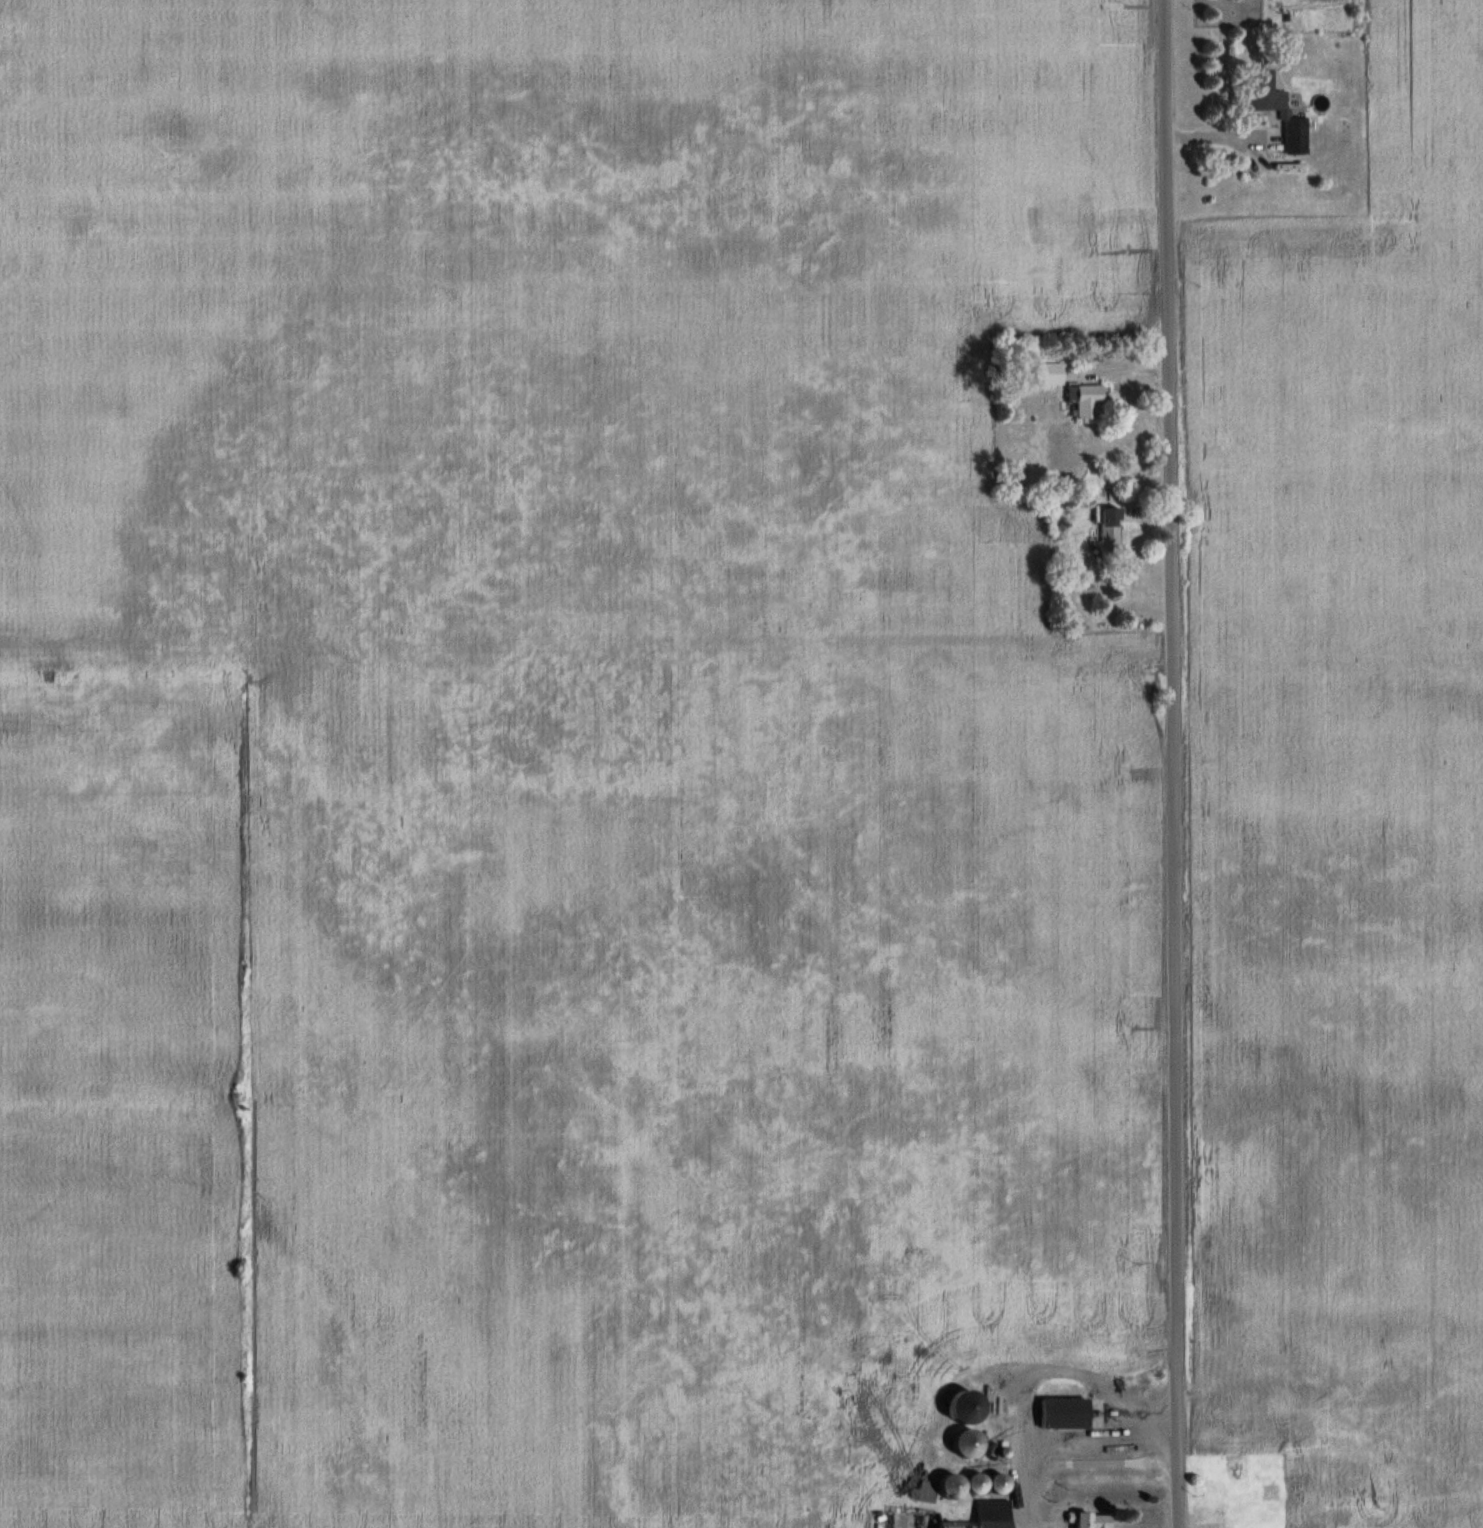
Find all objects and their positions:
building: (1286, 114)
building: (1050, 374)
building: (1087, 401)
building: (1111, 531)
road: (1171, 764)
building: (1074, 1414)
building: (968, 1444)
building: (976, 1484)
building: (998, 1484)
building: (950, 1487)
building: (1274, 1508)
building: (908, 1518)
building: (1092, 1521)

